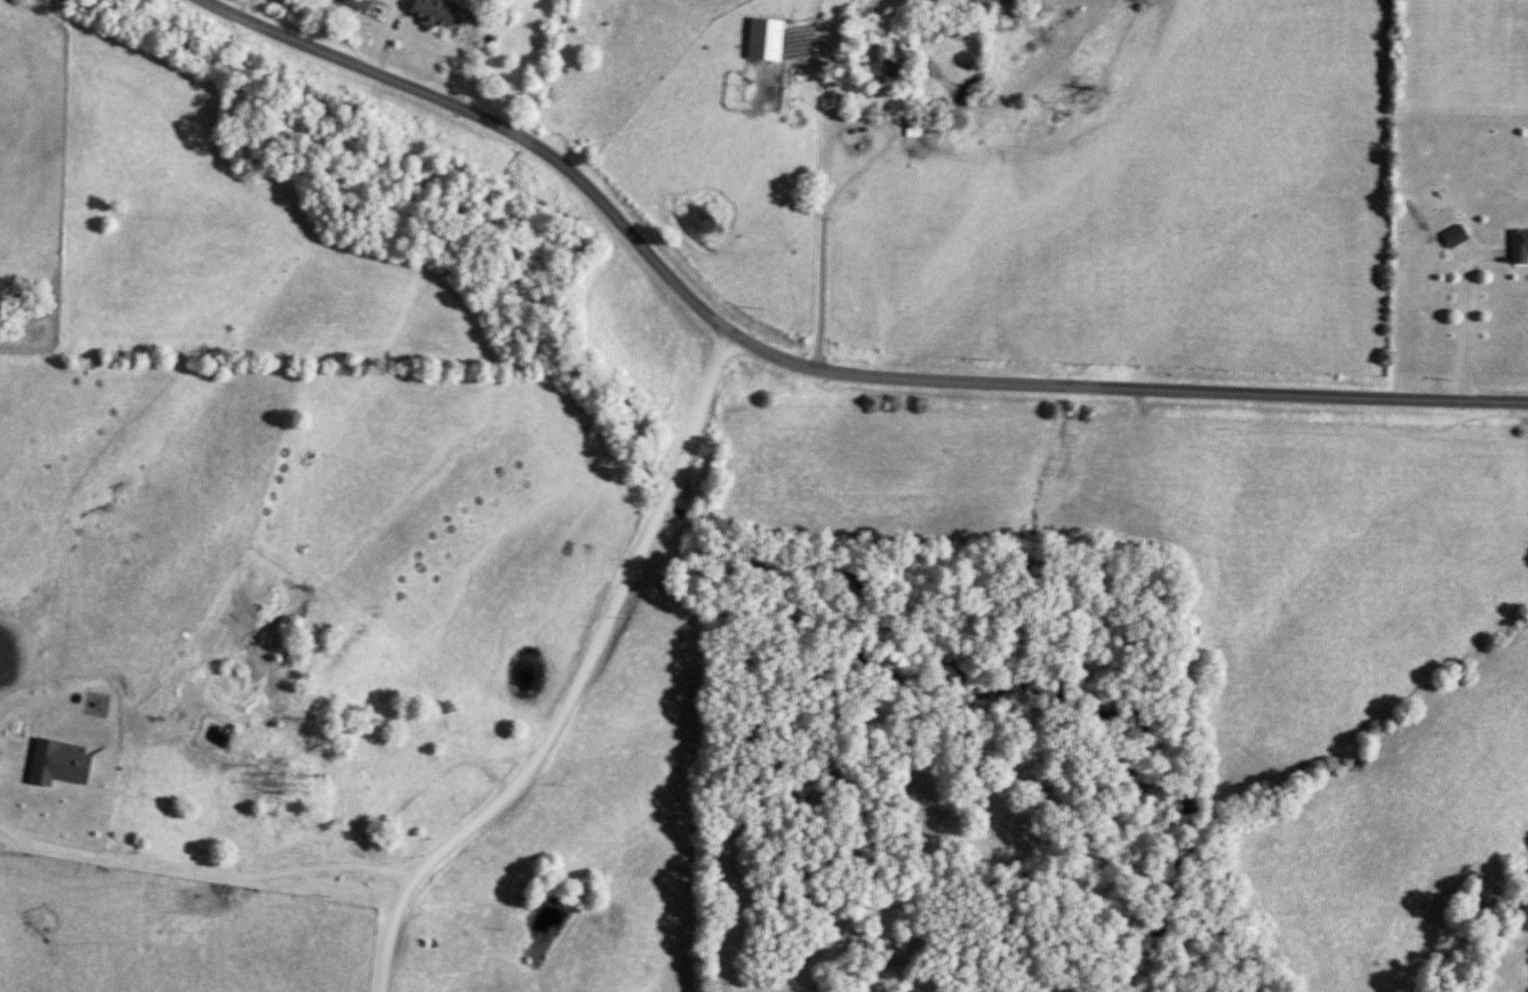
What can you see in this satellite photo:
building: (359, 3)
building: (437, 13)
road: (384, 37)
building: (765, 39)
road: (460, 55)
building: (881, 61)
building: (913, 127)
road: (823, 173)
building: (1520, 247)
road: (1461, 316)
road: (805, 369)
road: (574, 685)
building: (366, 768)
building: (398, 802)
road: (203, 873)

